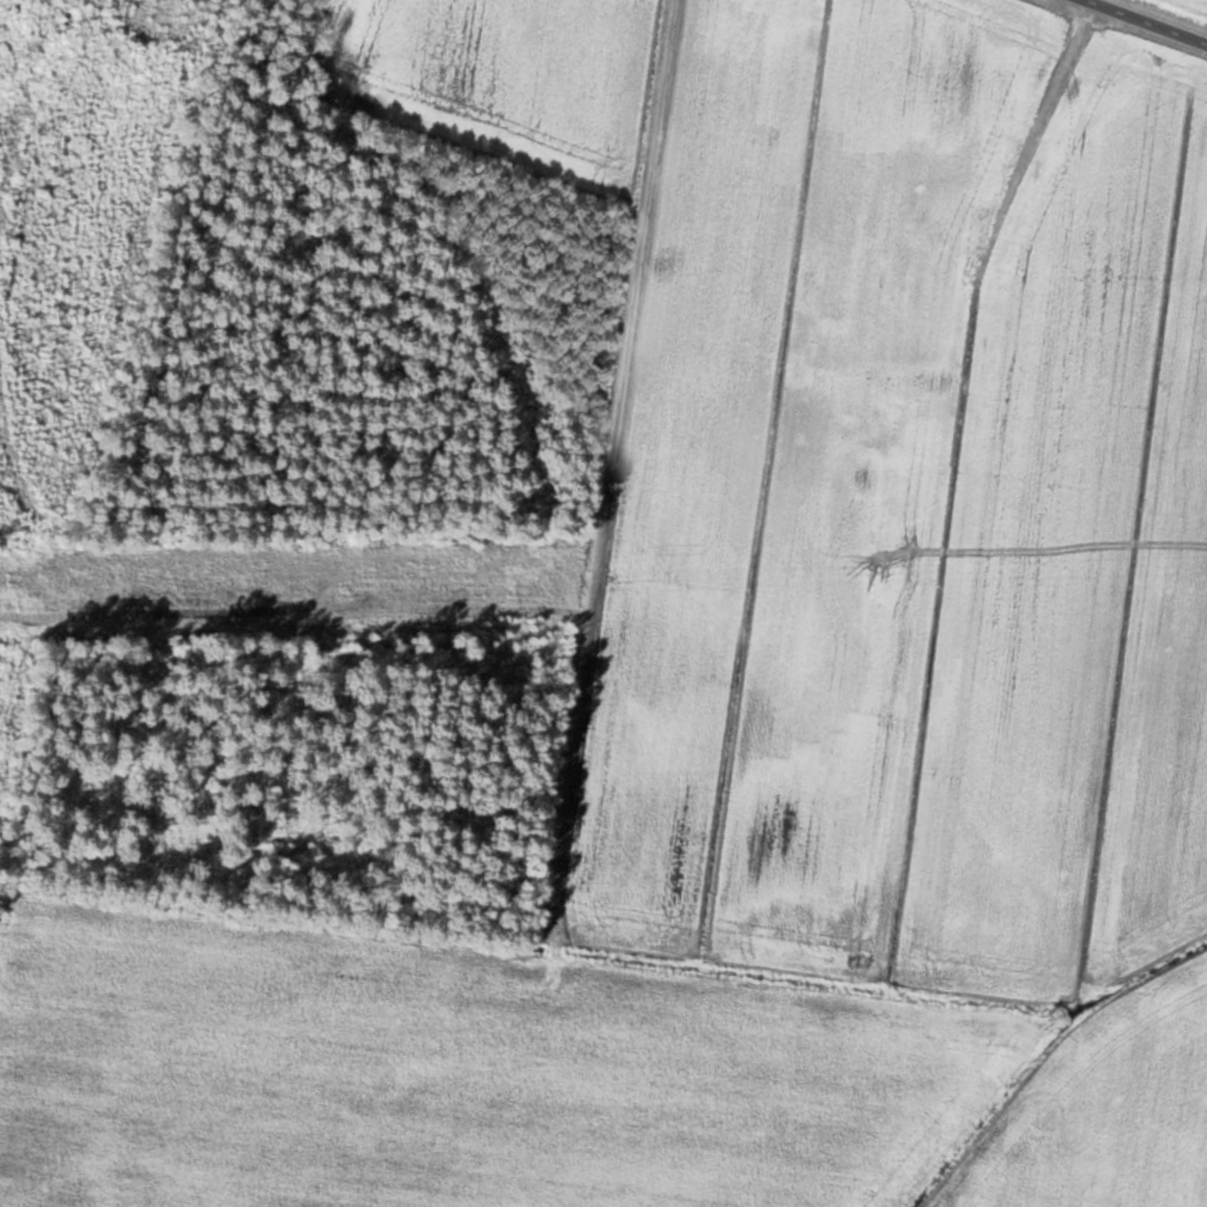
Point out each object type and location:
road: (1141, 23)
power tower: (867, 571)
power tower: (348, 589)

